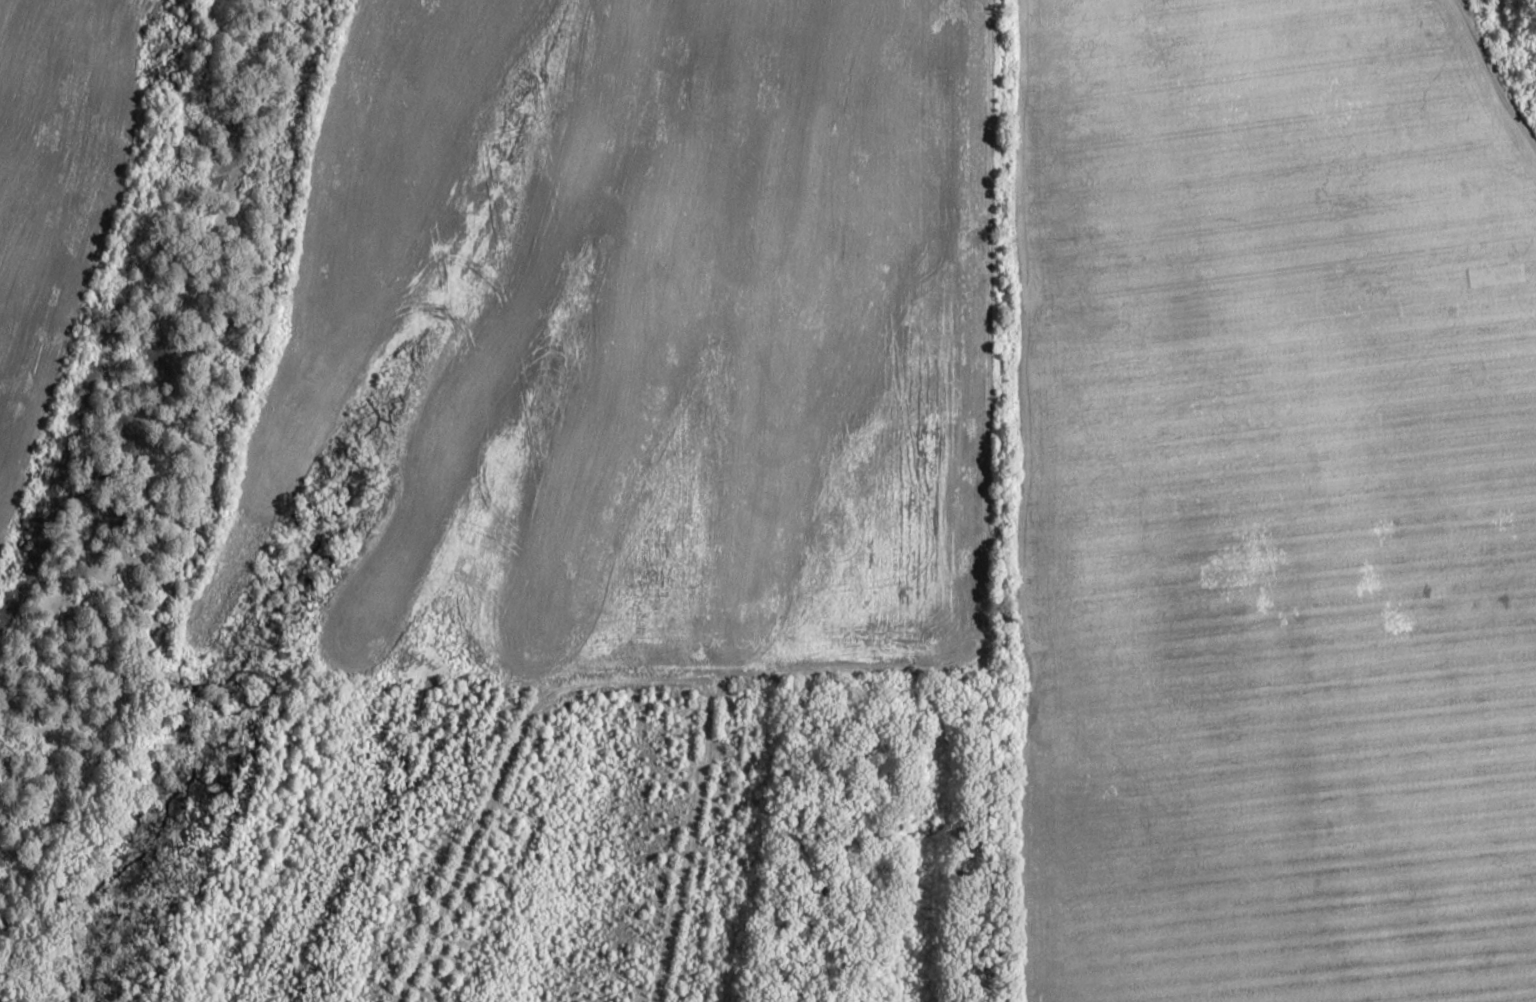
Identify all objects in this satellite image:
road: (1295, 484)

